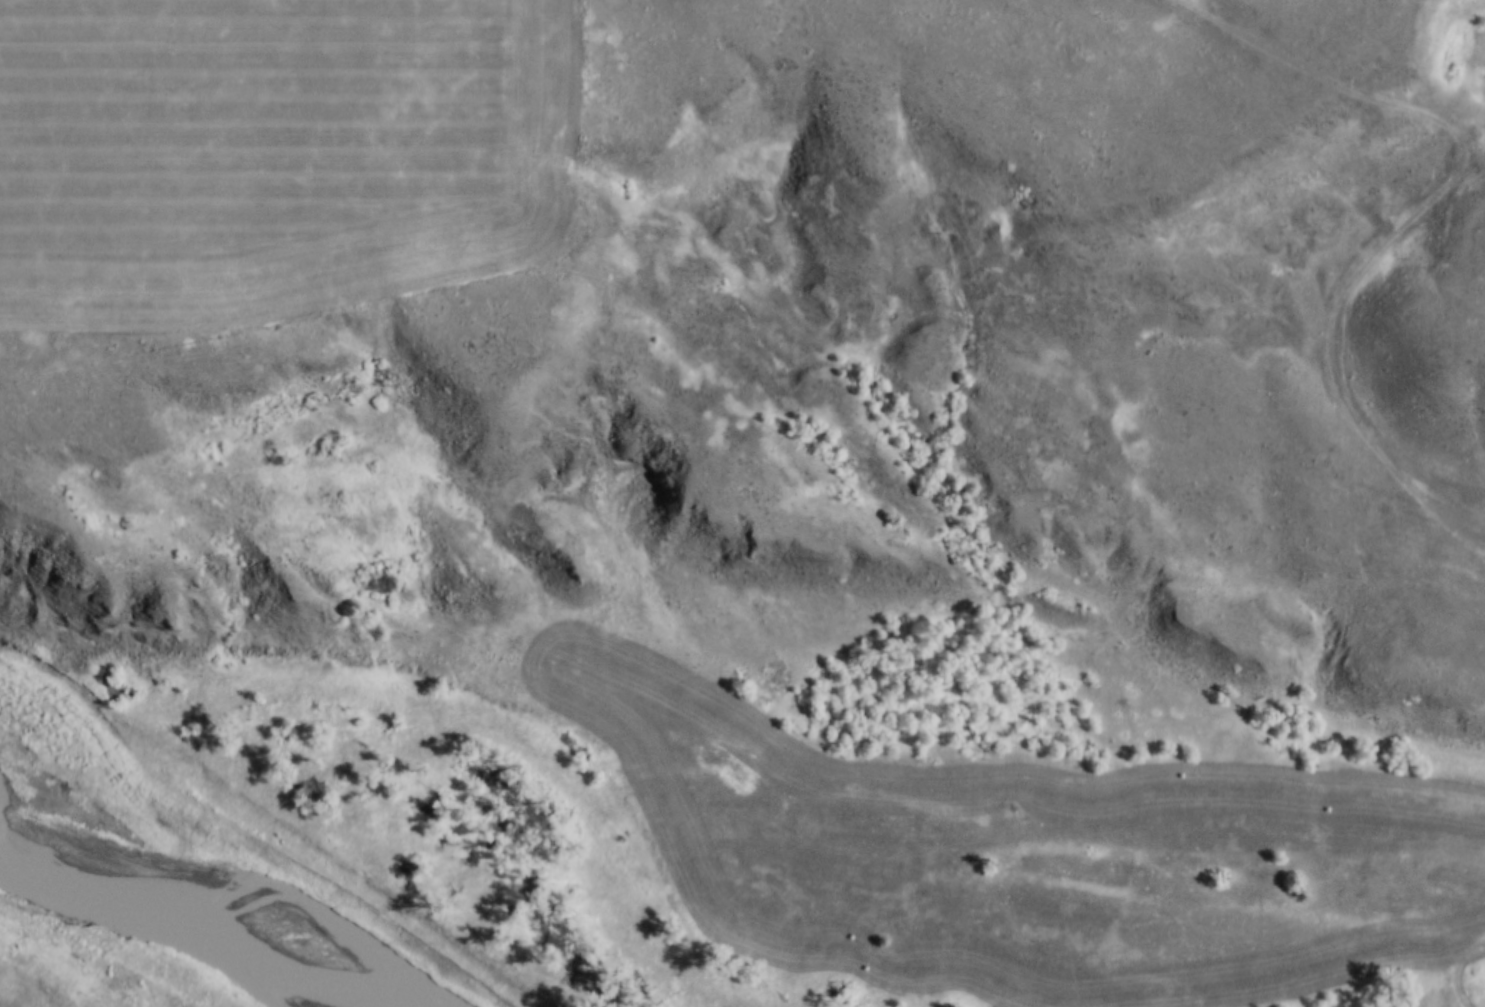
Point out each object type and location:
river: (213, 898)

